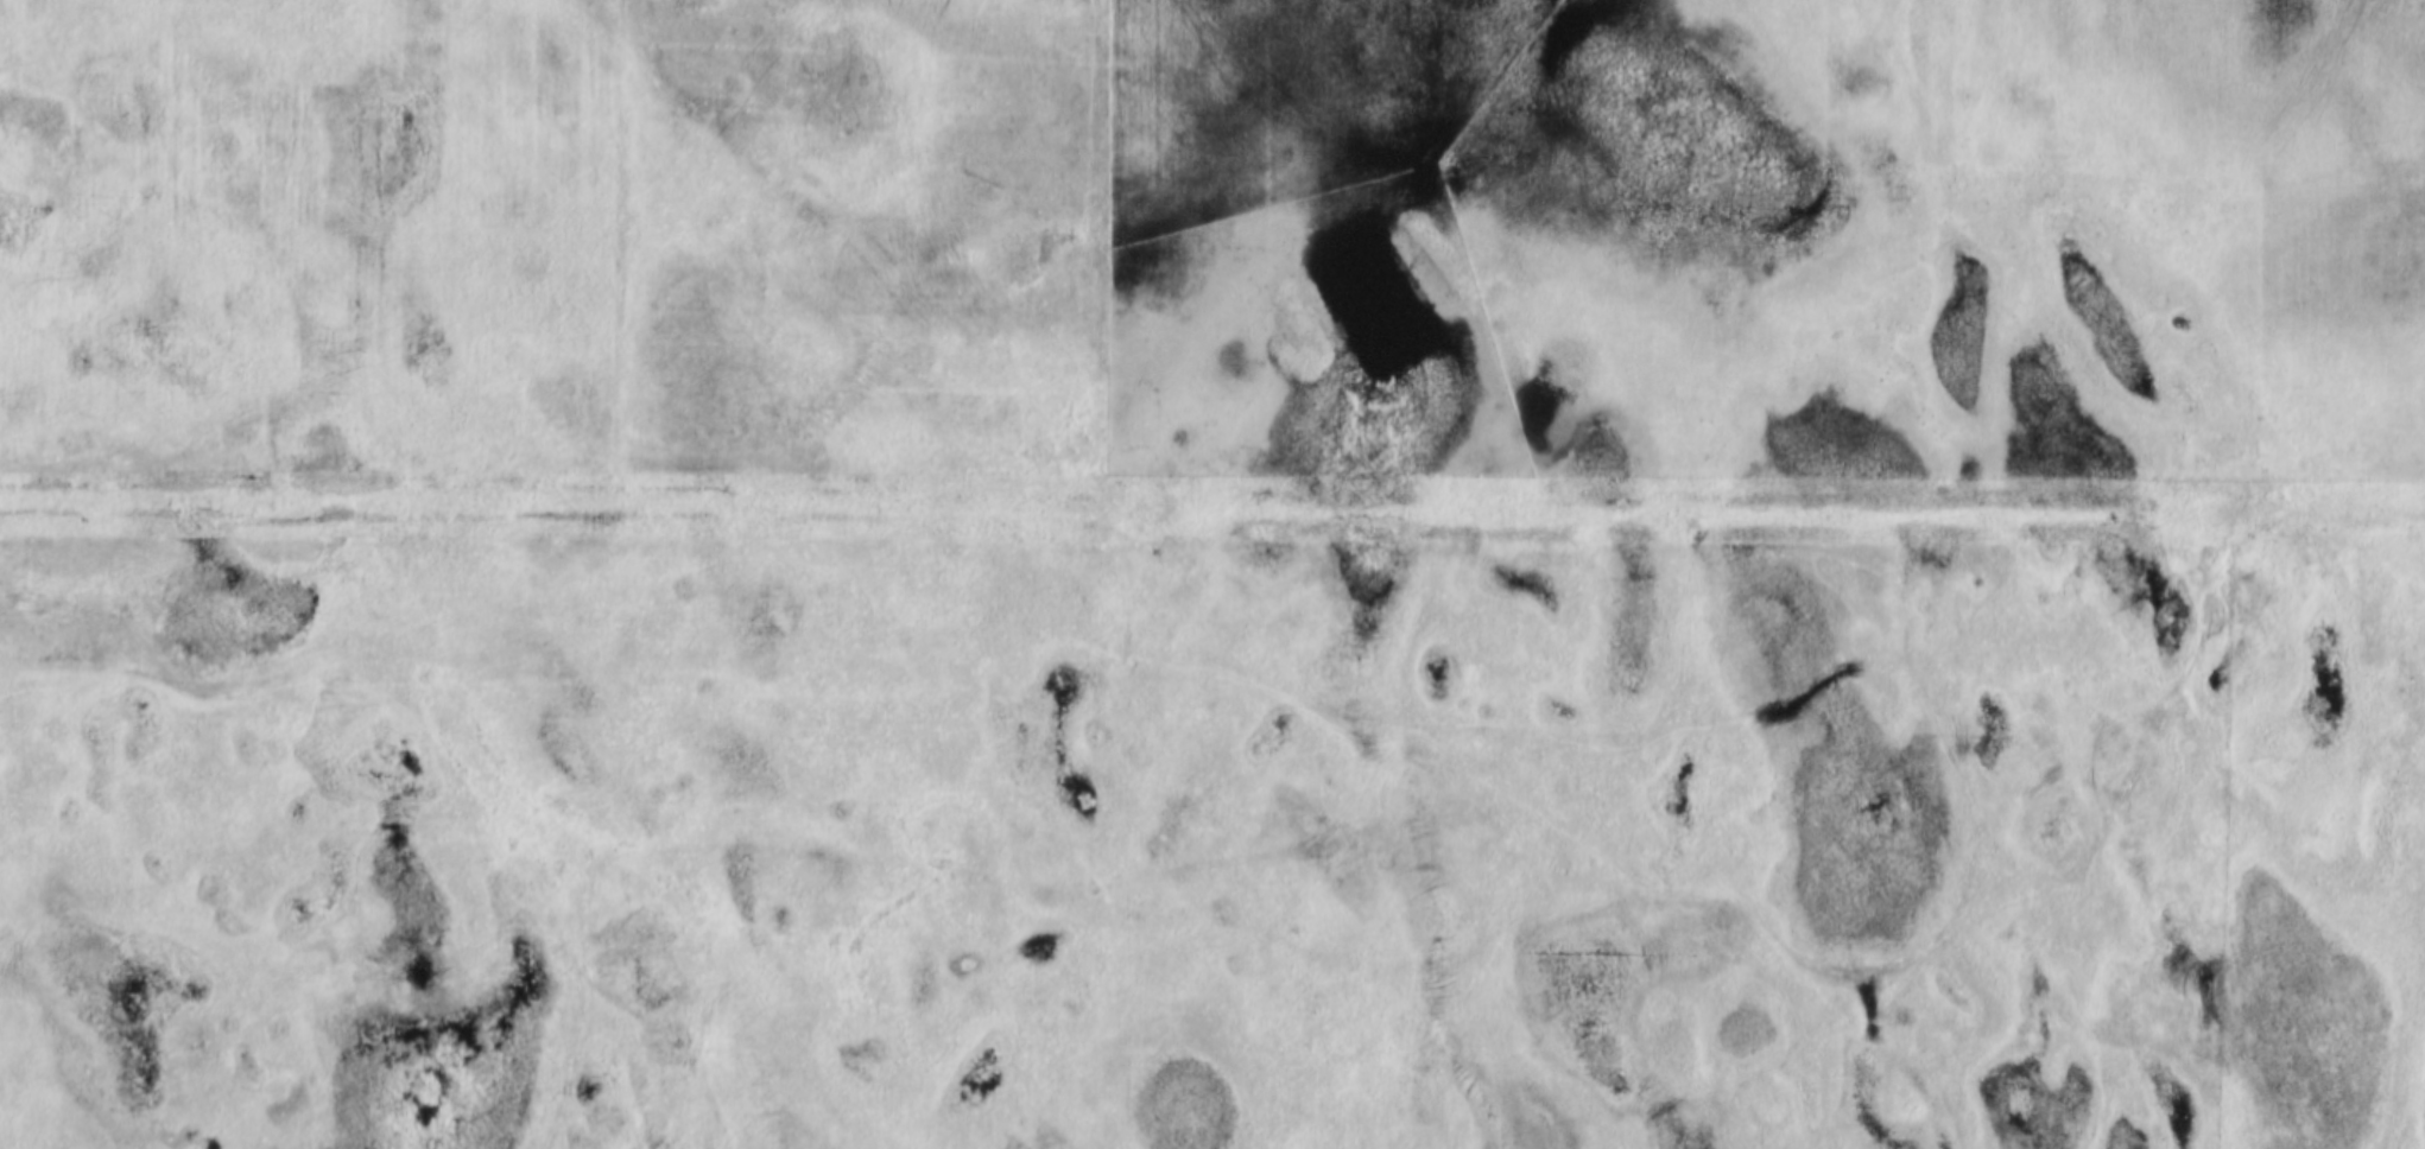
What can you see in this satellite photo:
road: (1807, 520)

